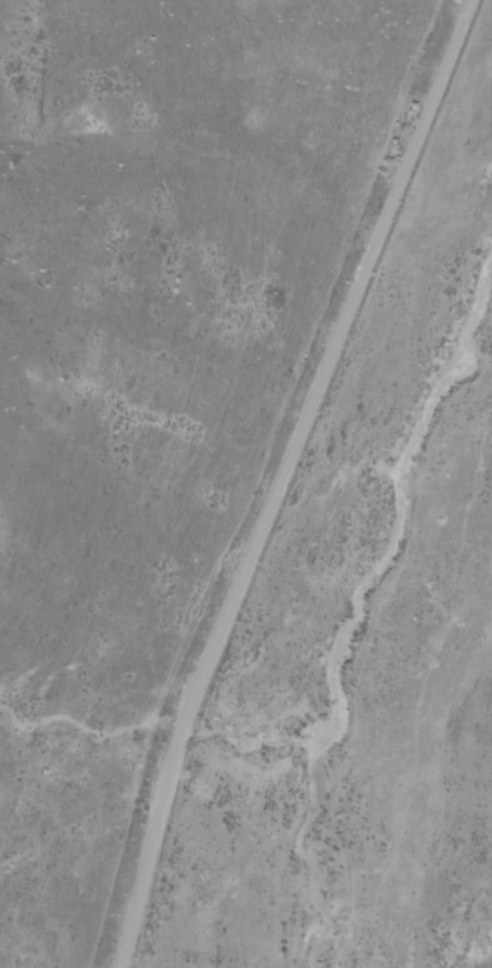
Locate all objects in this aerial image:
road: (283, 484)

